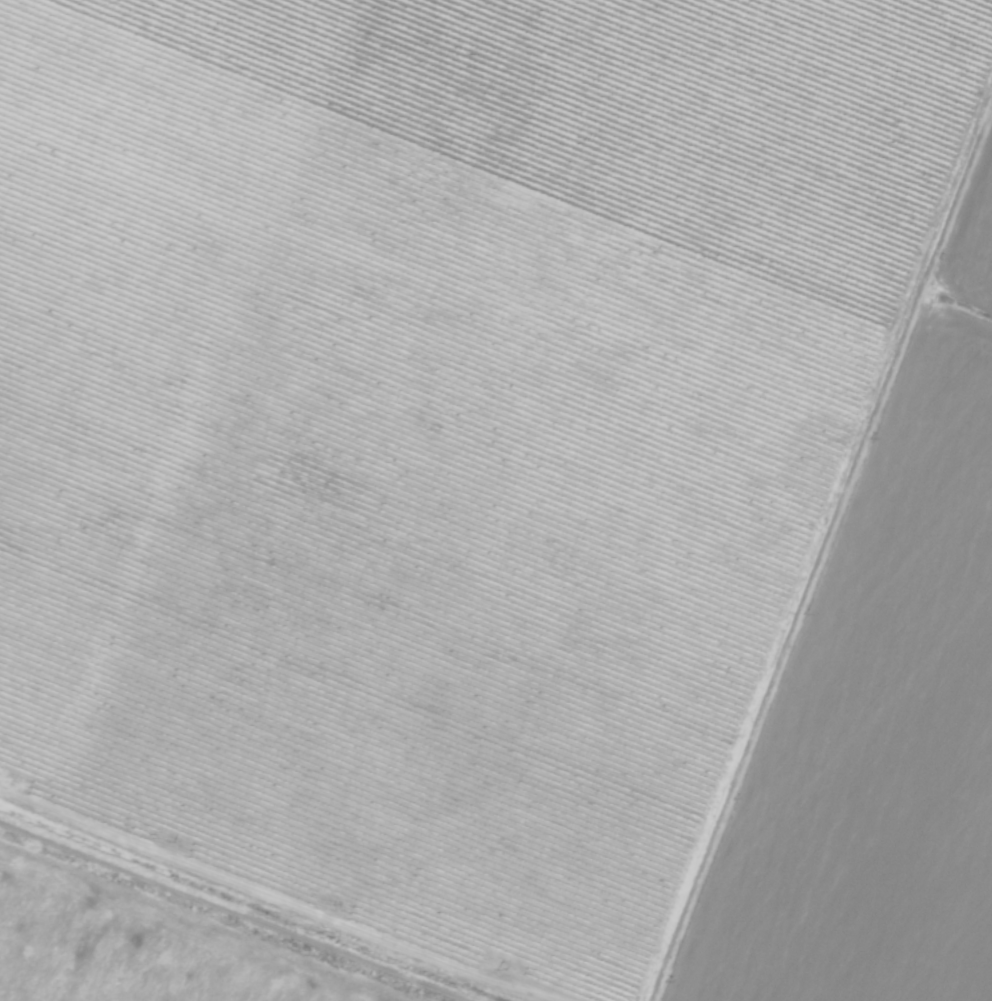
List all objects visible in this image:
crop: (882, 696)

